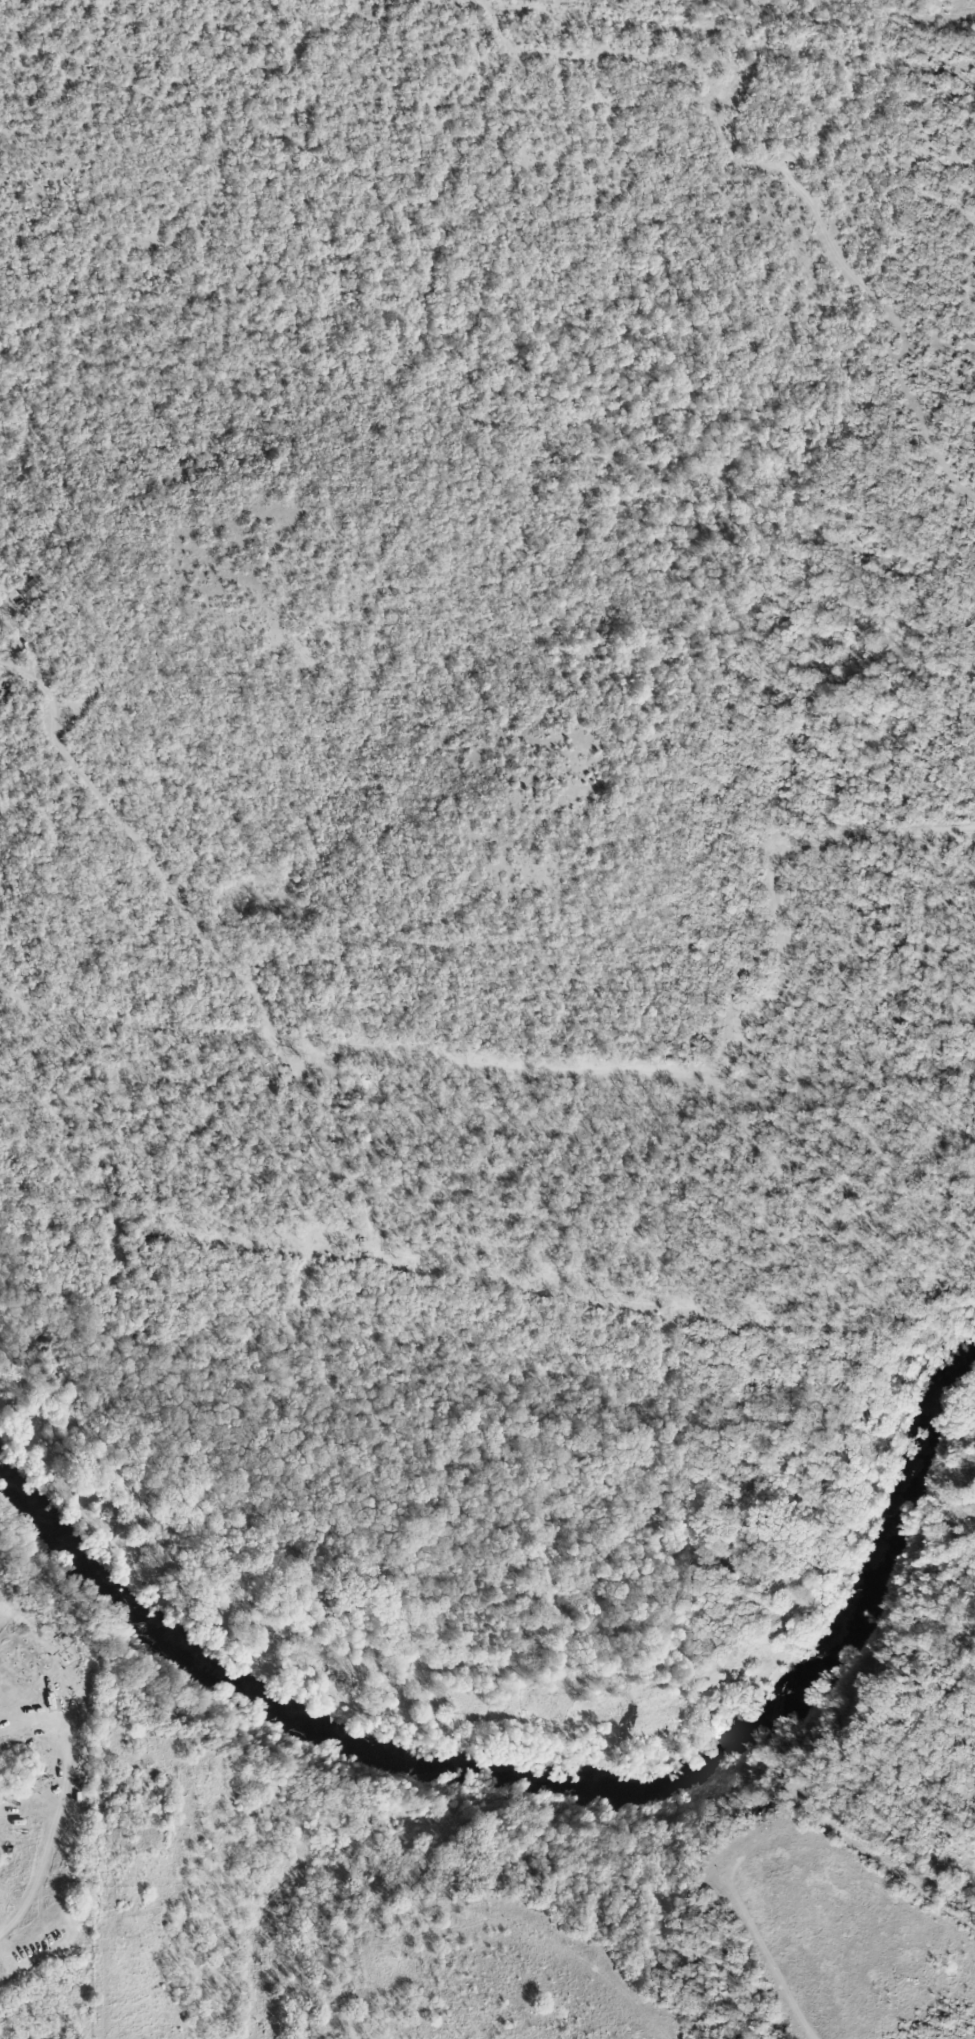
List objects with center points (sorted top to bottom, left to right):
road: (35, 681)
river: (559, 1775)

